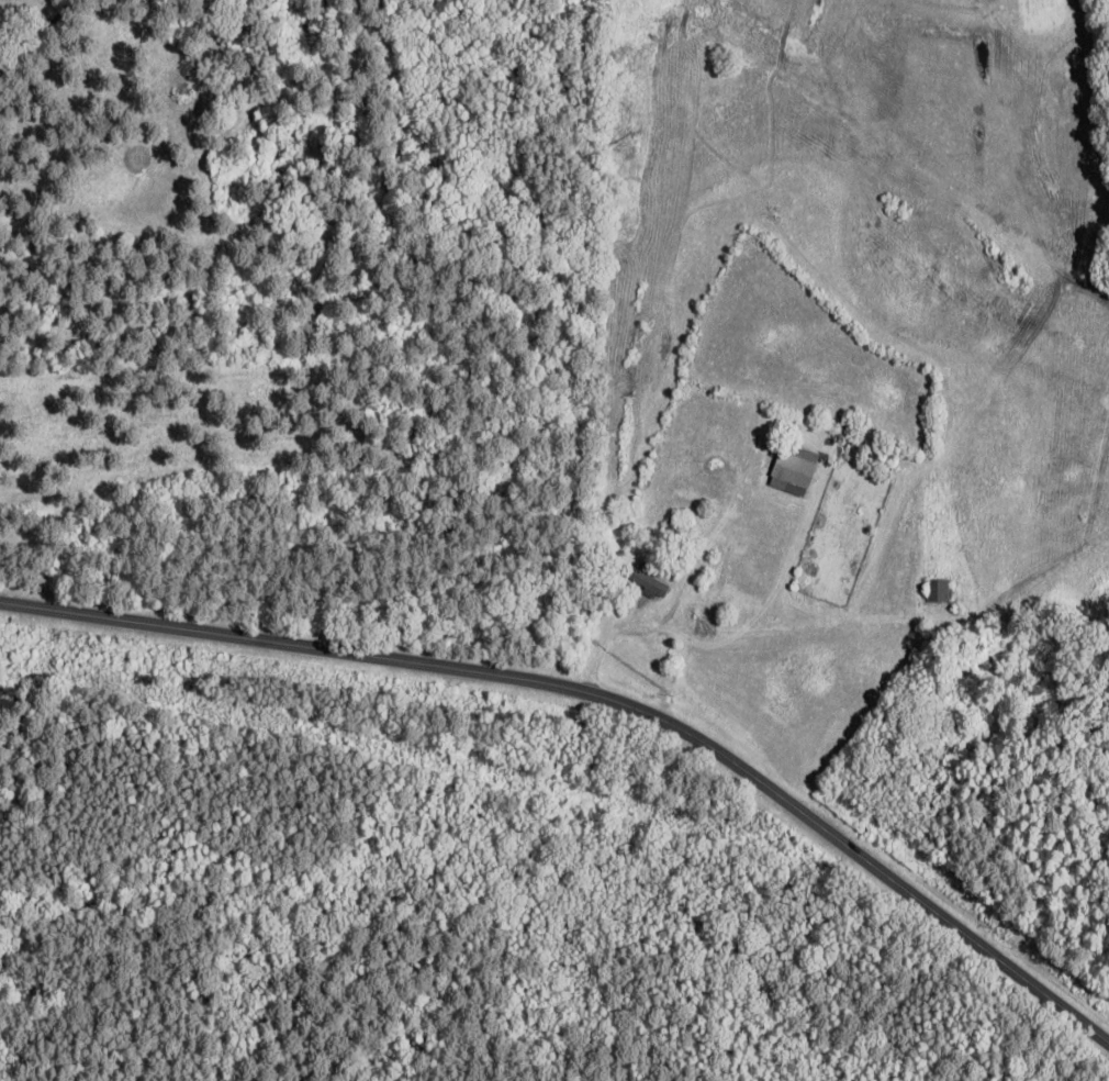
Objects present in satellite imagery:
building: (796, 469)
building: (680, 528)
building: (652, 578)
building: (940, 591)
road: (606, 694)

